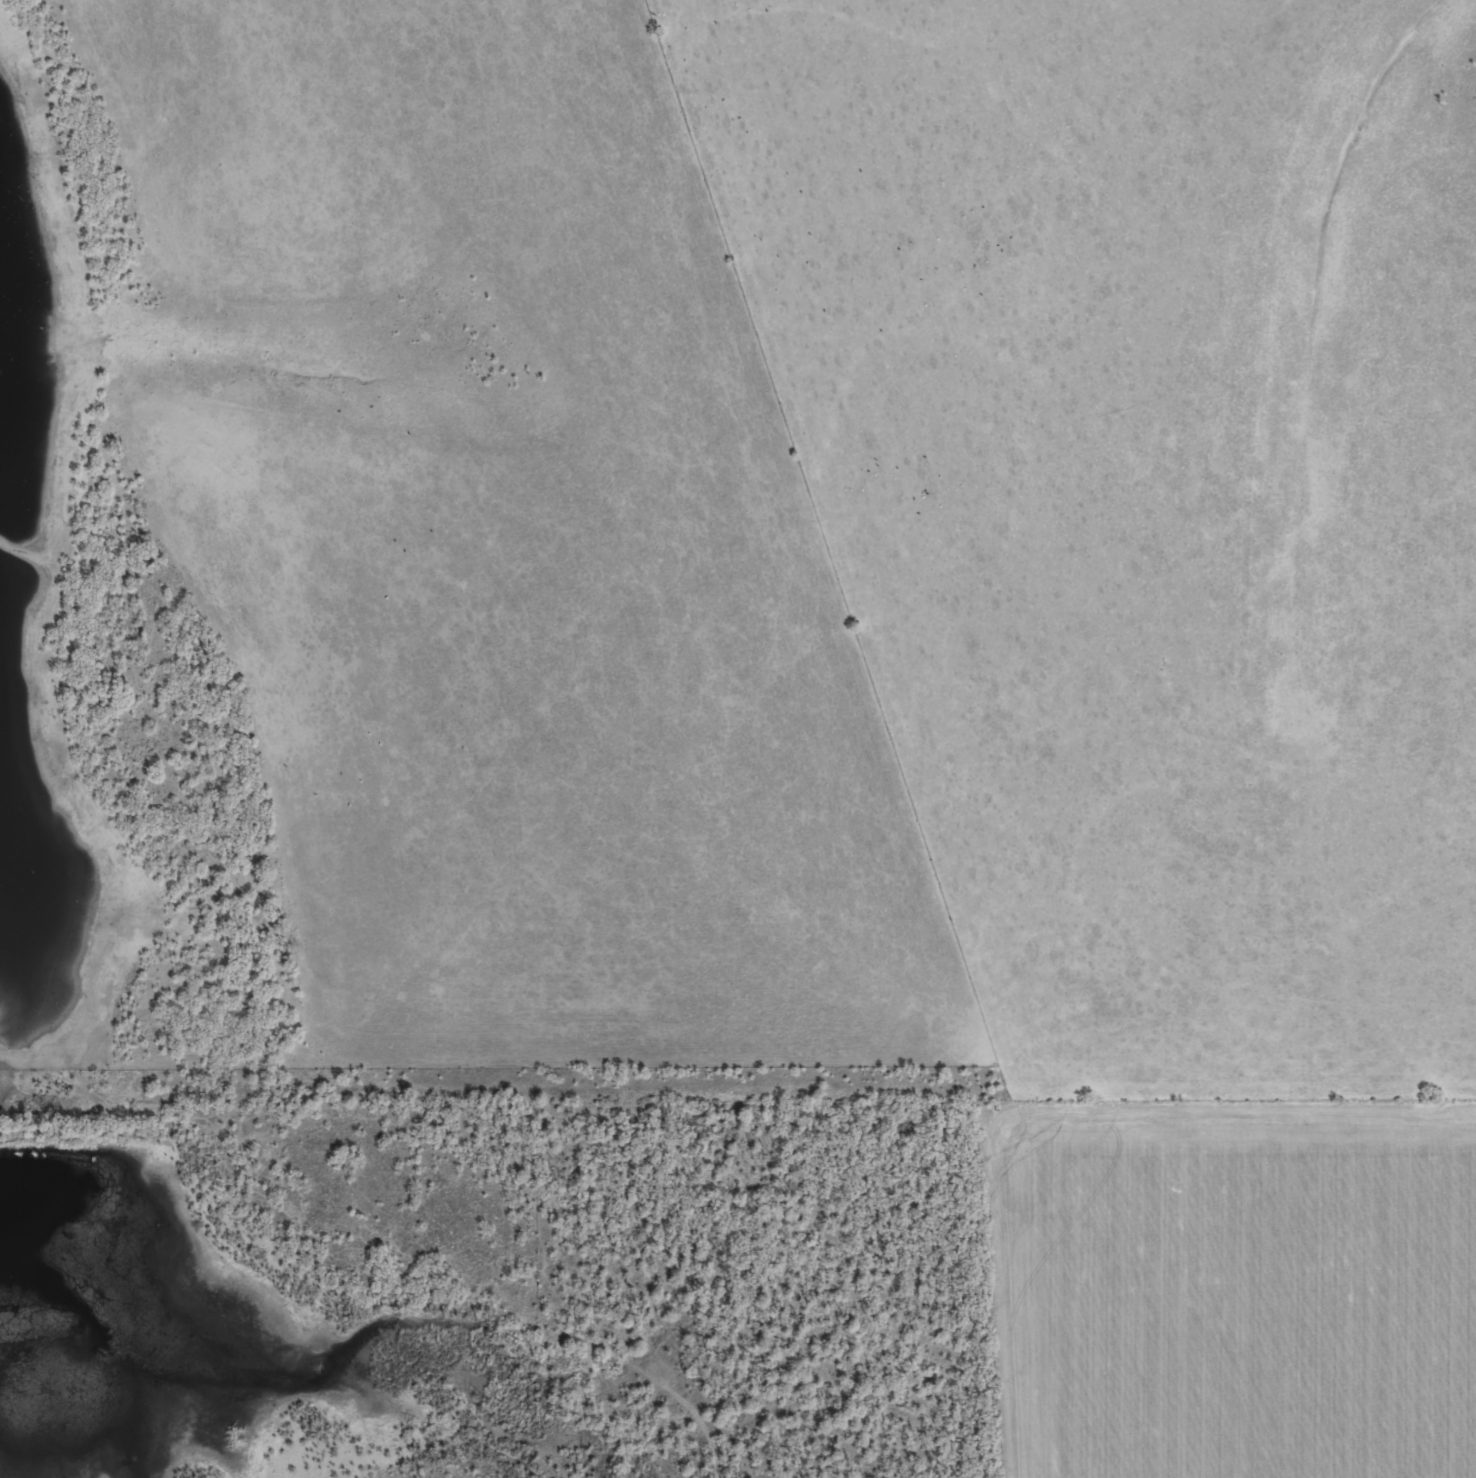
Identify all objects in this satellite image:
dam: (88, 1128)

